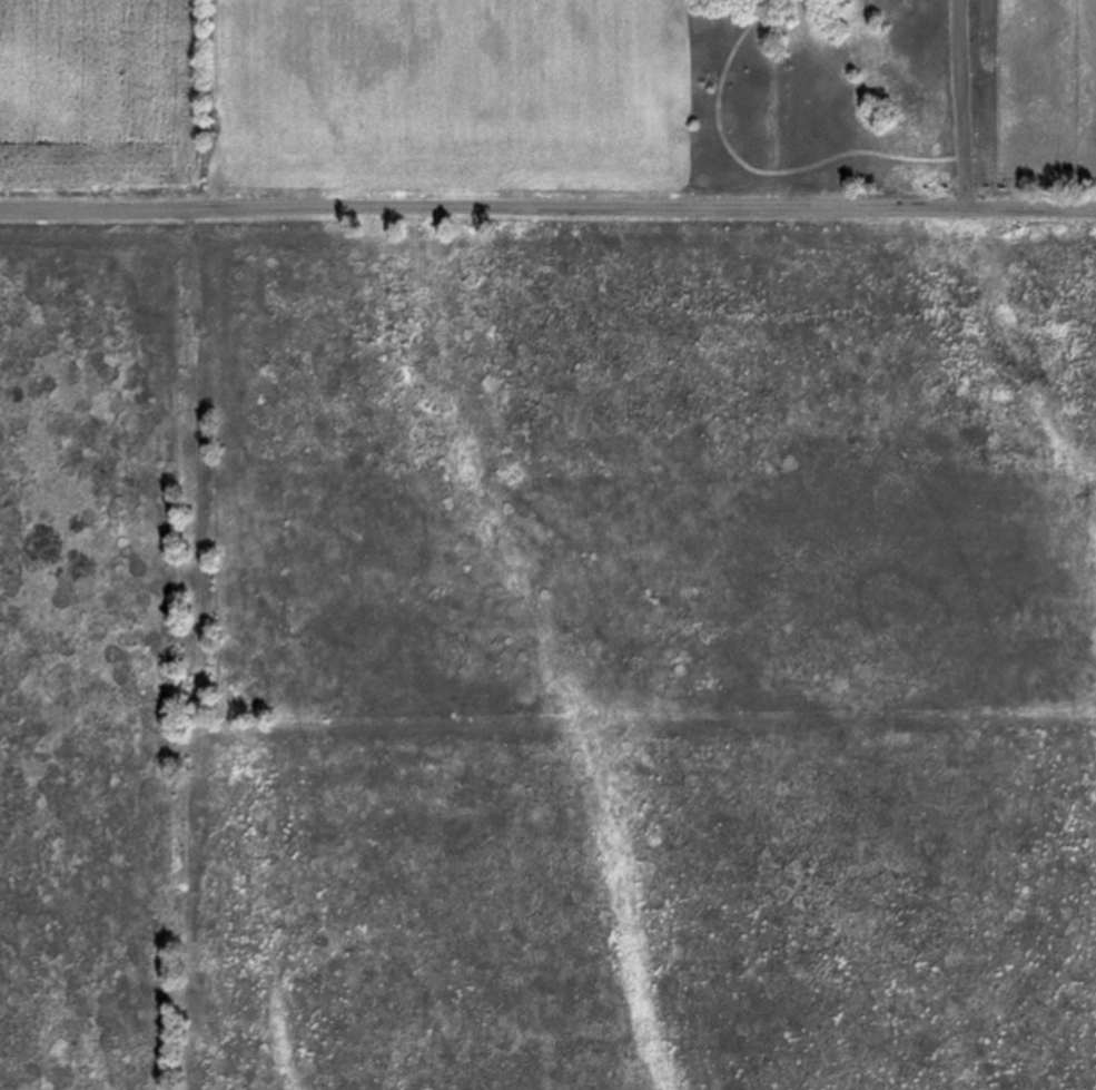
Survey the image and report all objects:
road: (964, 102)
road: (547, 207)

